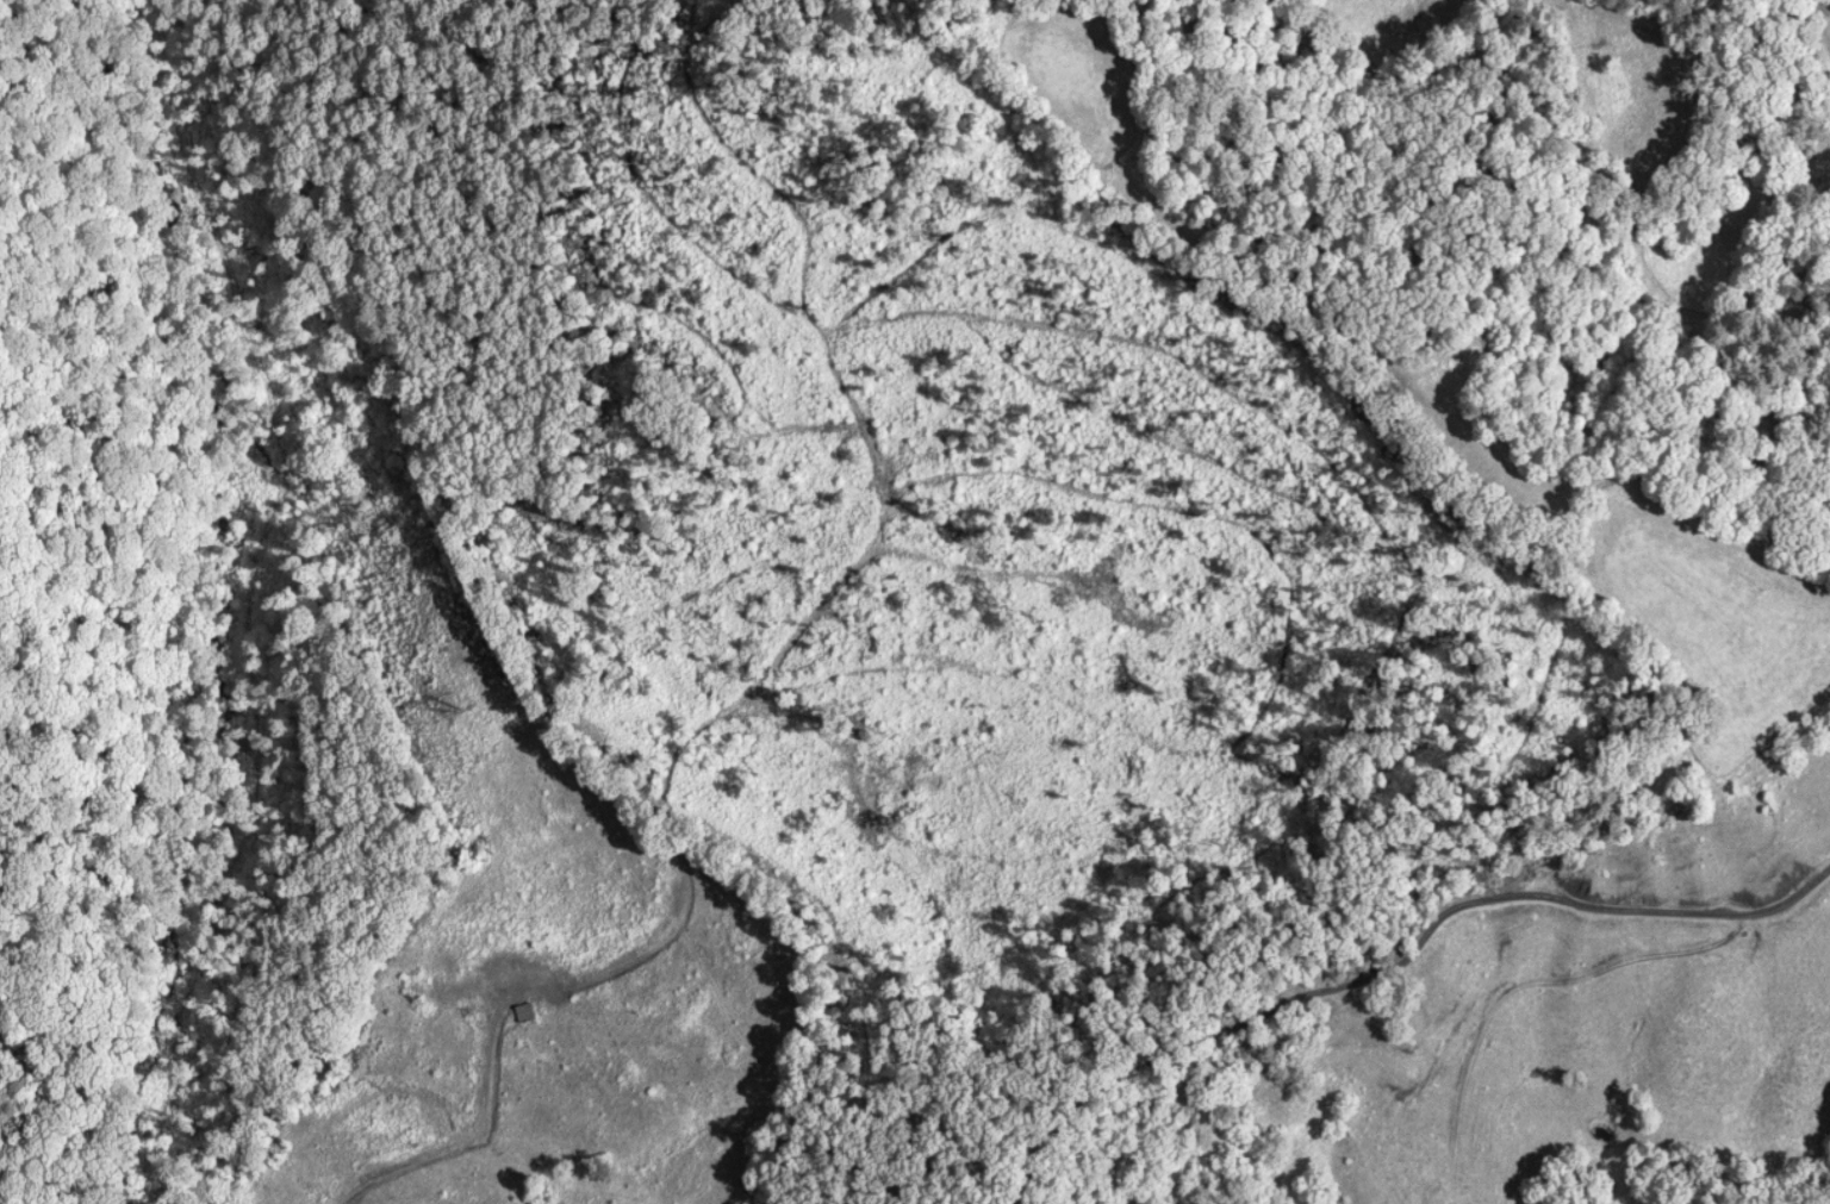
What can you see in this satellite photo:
power tower: (479, 715)
road: (1423, 962)
road: (1535, 982)
building: (522, 1016)

